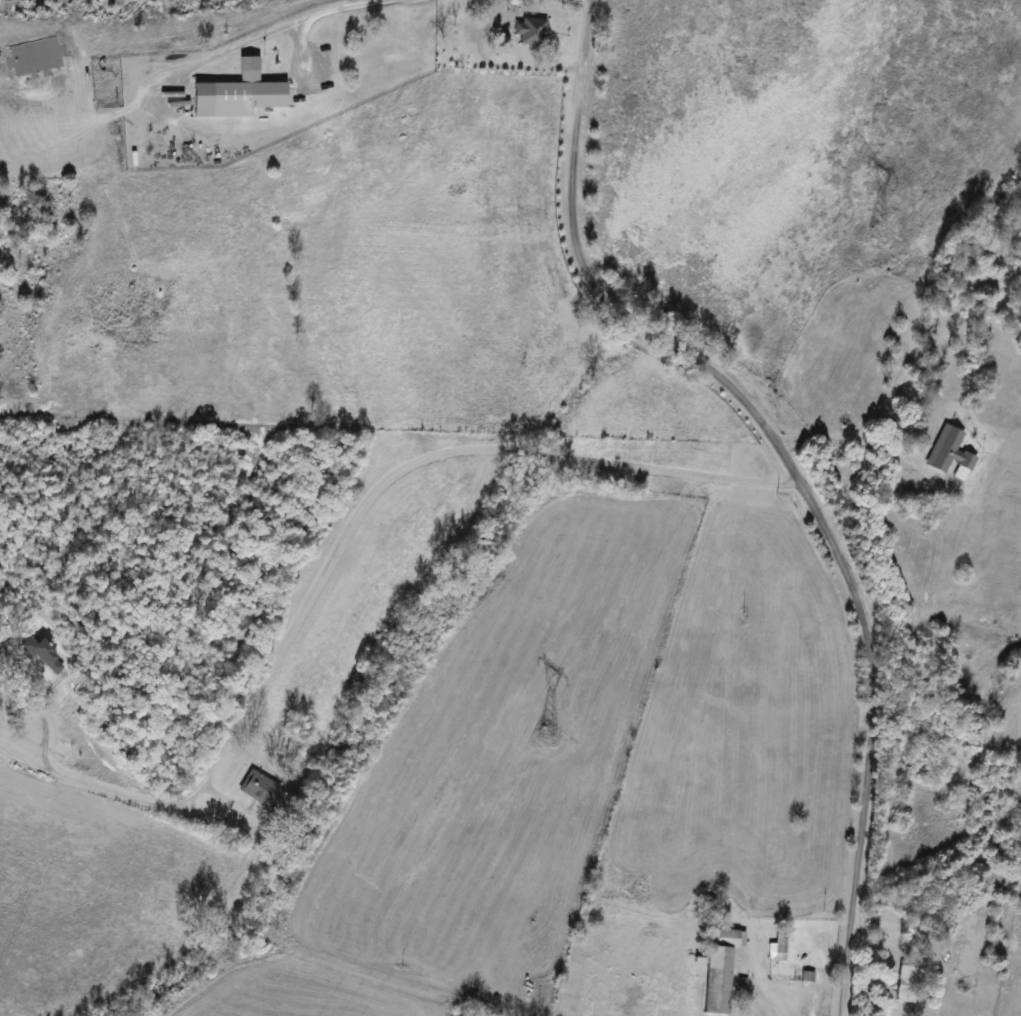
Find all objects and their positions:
road: (488, 11)
building: (529, 31)
road: (277, 32)
road: (509, 64)
building: (236, 97)
power tower: (876, 238)
road: (862, 444)
building: (948, 452)
road: (792, 469)
road: (341, 540)
building: (41, 655)
building: (548, 736)
power tower: (546, 738)
building: (259, 790)
building: (778, 948)
building: (953, 956)
building: (719, 968)
building: (906, 983)
road: (757, 994)

